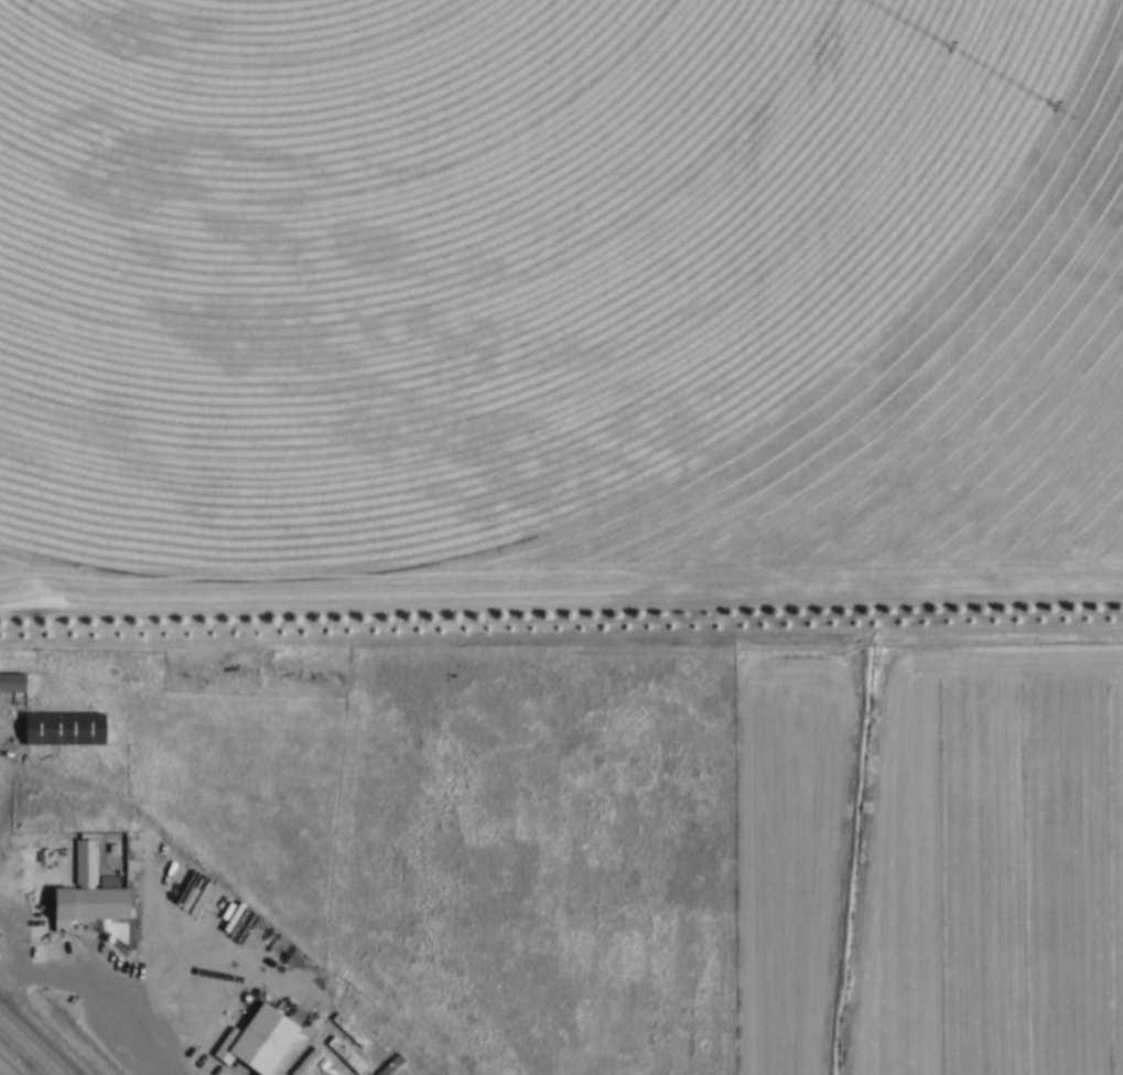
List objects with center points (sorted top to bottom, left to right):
building: (11, 681)
building: (63, 728)
building: (89, 890)
road: (80, 989)
building: (256, 1041)
road: (32, 1043)
building: (363, 1067)
road: (3, 1071)

